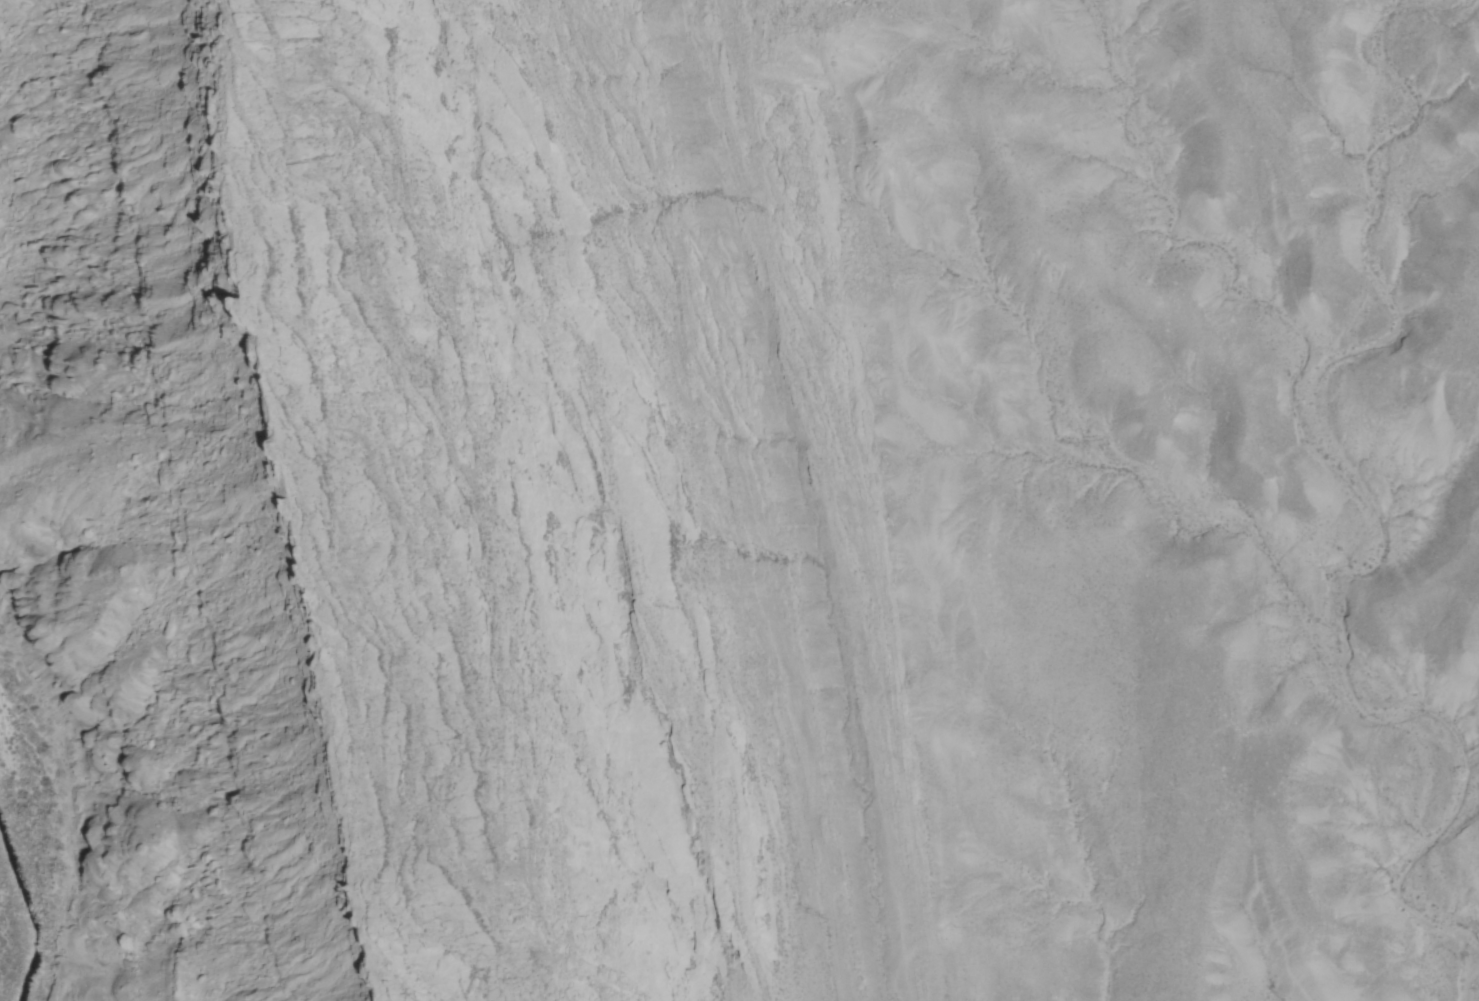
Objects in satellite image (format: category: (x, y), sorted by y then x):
river: (35, 917)

